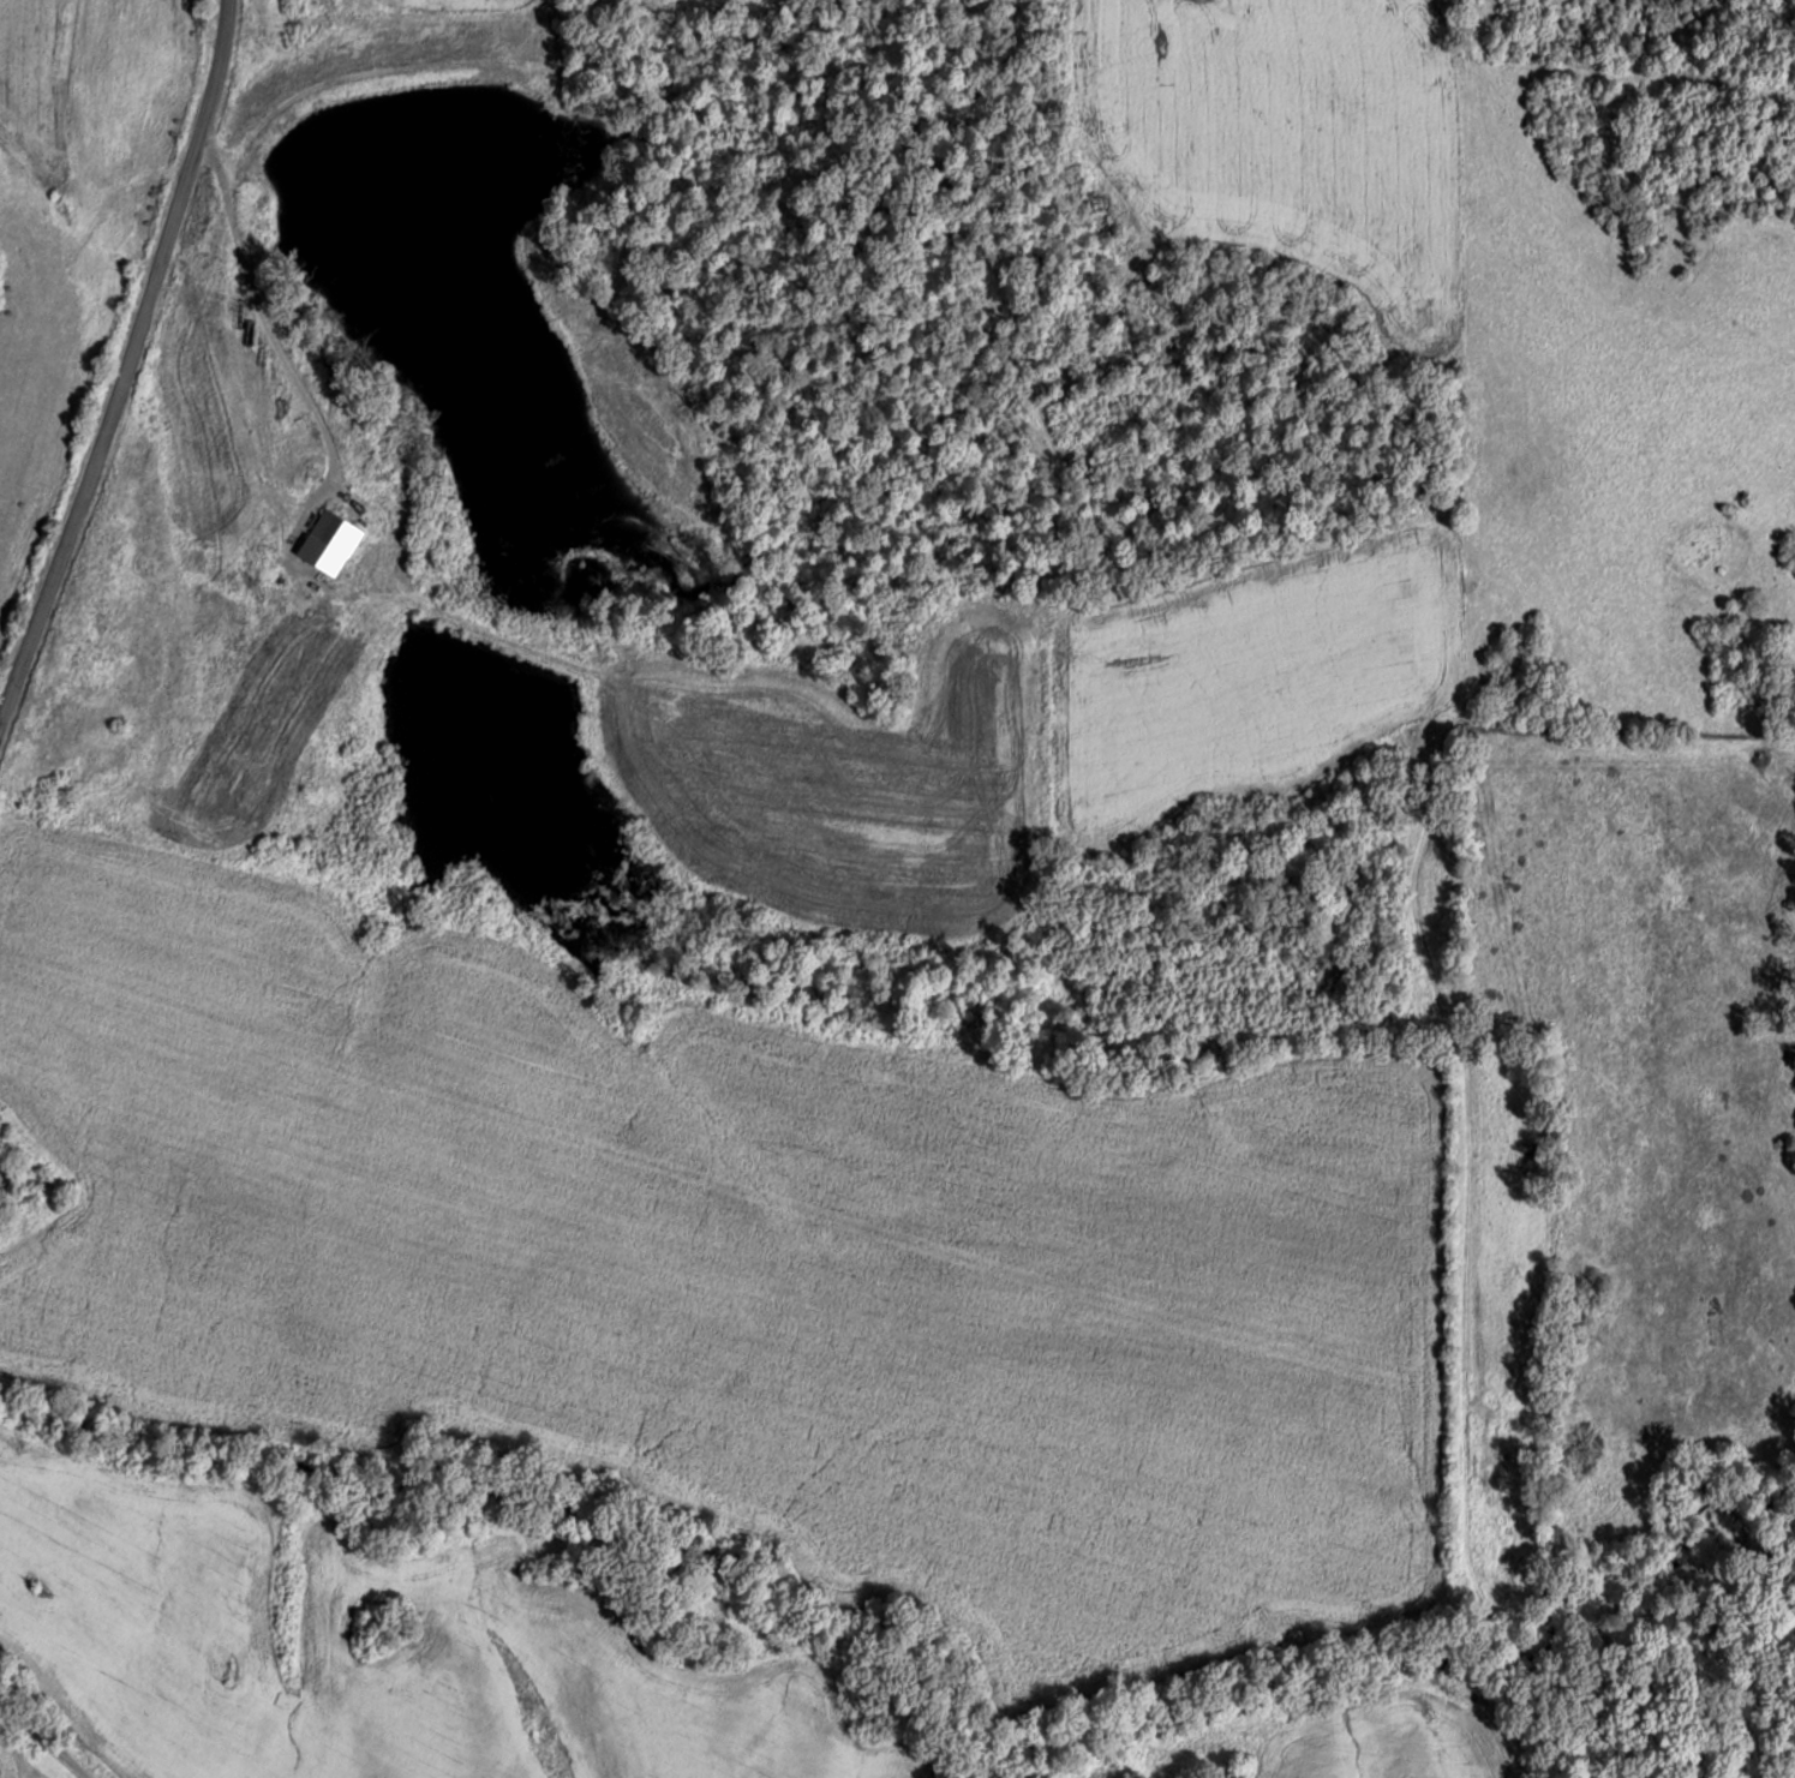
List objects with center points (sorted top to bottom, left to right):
building: (240, 253)
road: (116, 366)
building: (334, 533)
road: (13, 1765)

